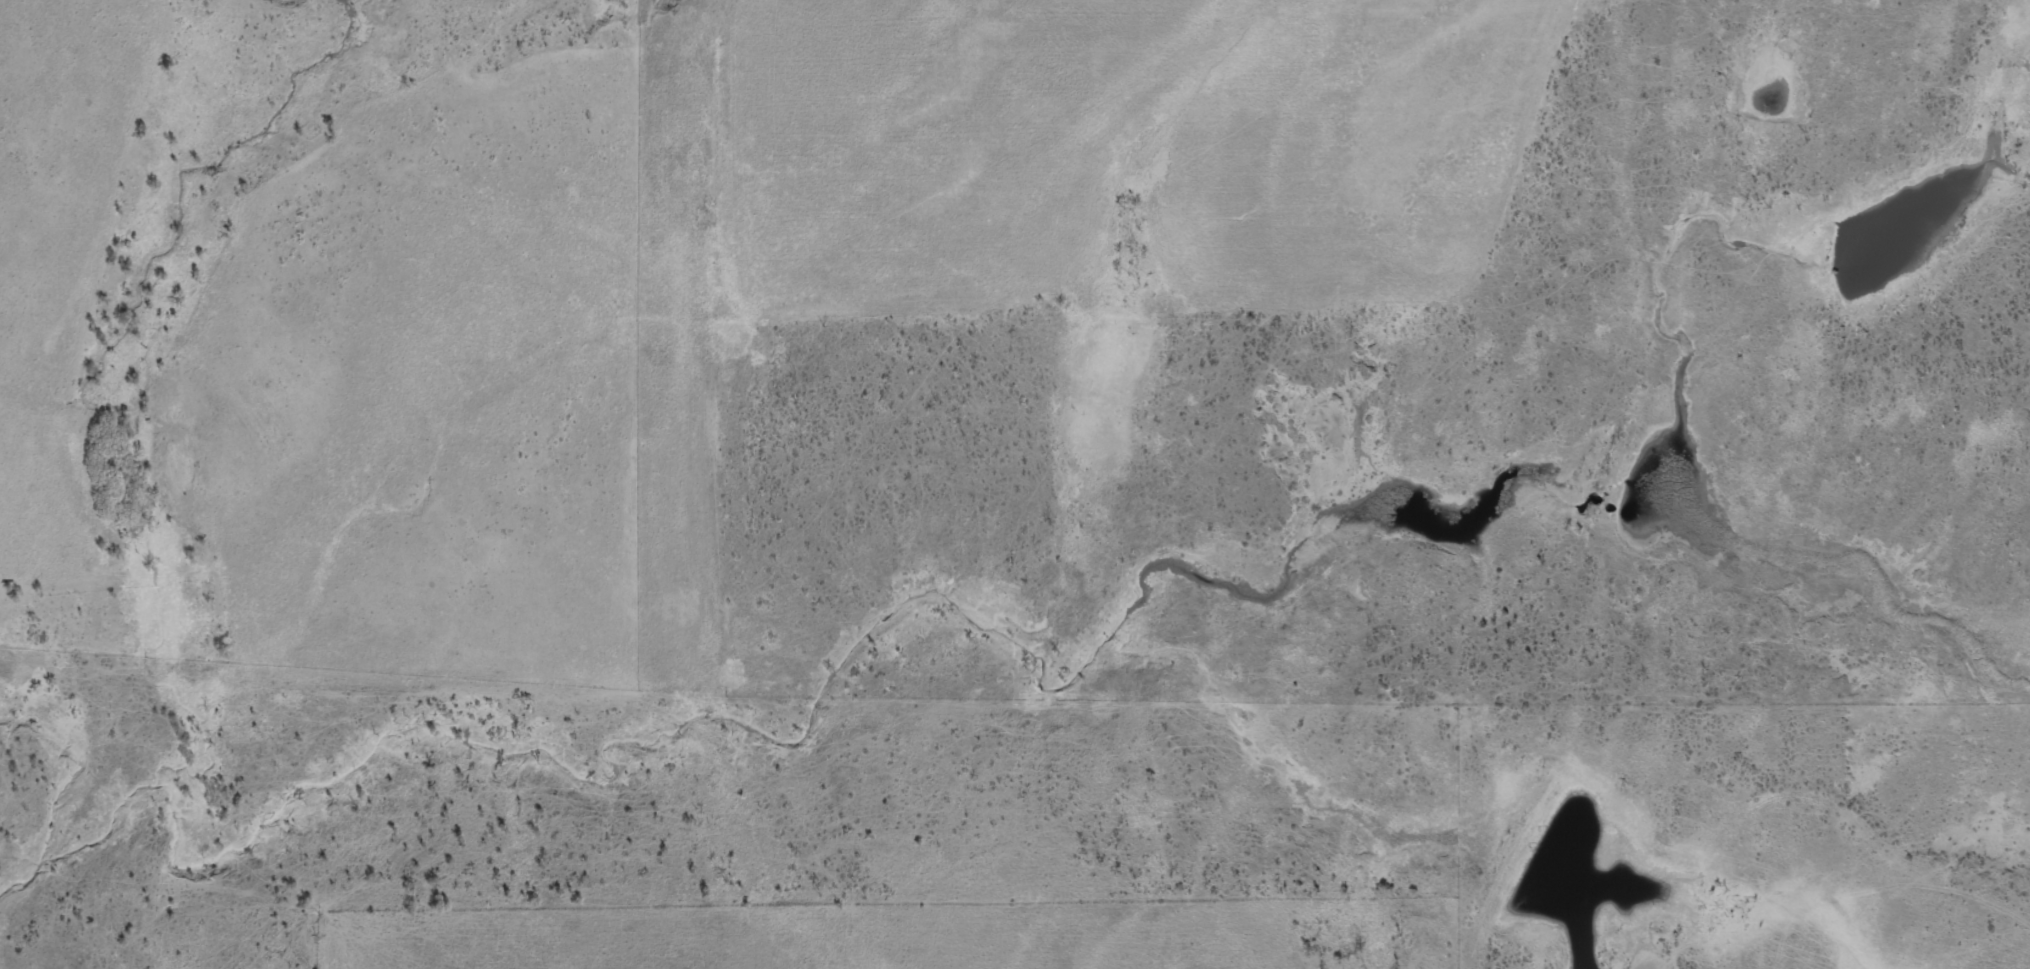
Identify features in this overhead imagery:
road: (1031, 698)
road: (1225, 912)

